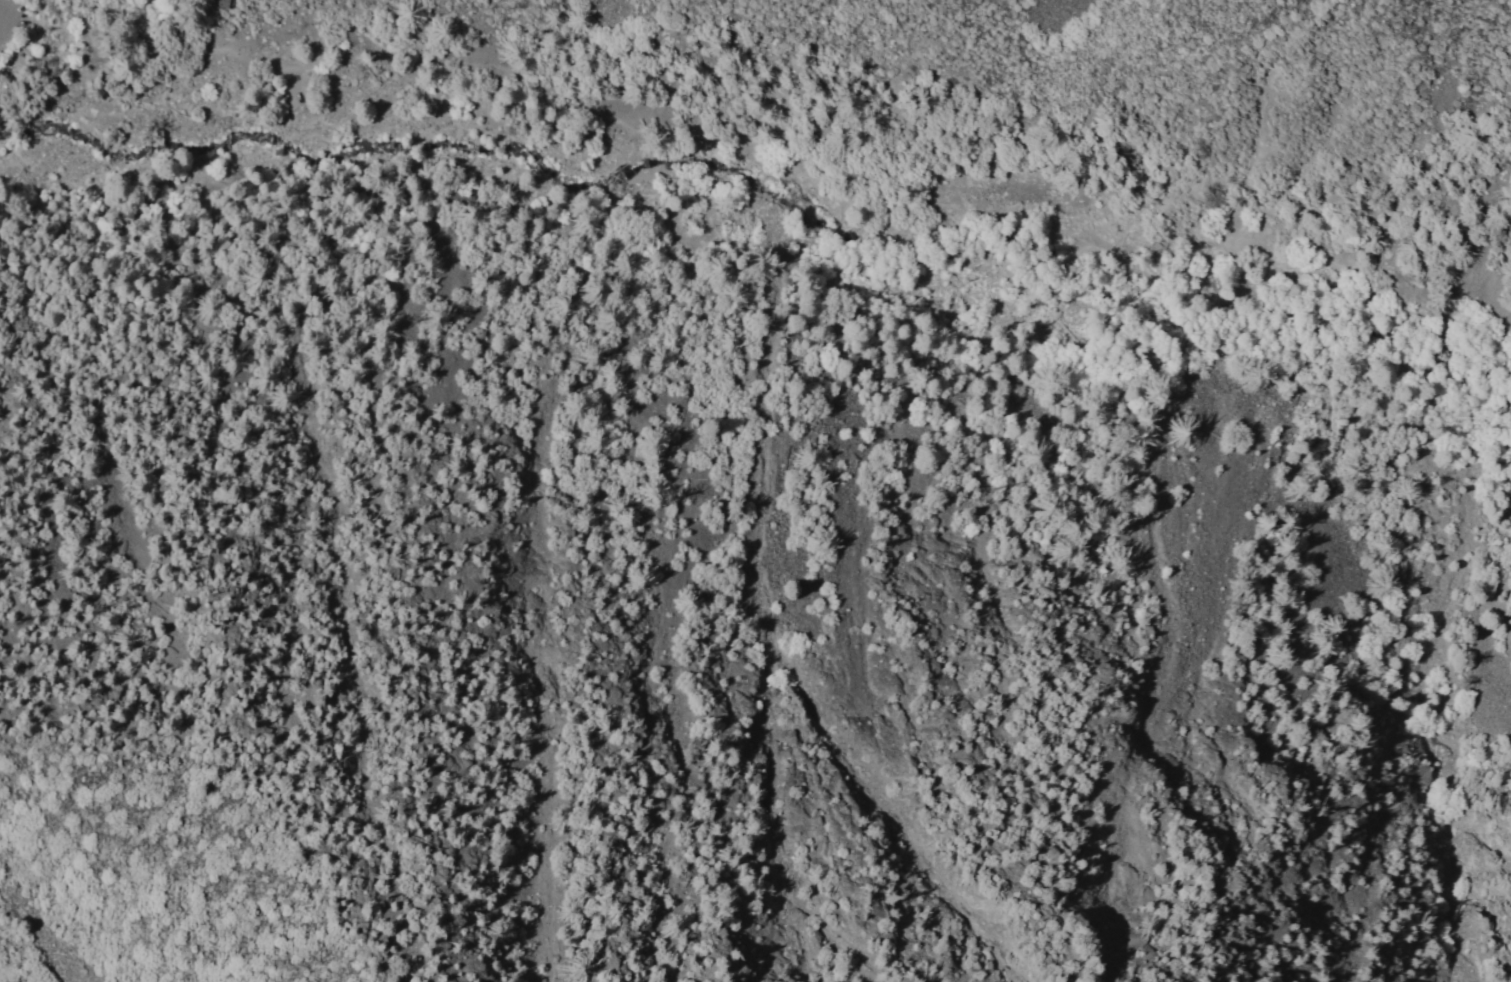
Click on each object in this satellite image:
building: (221, 3)
parking lot: (15, 20)
building: (124, 43)
road: (3, 78)
road: (554, 90)
building: (578, 129)
building: (909, 187)
road: (1093, 227)
road: (1281, 248)
building: (987, 355)

